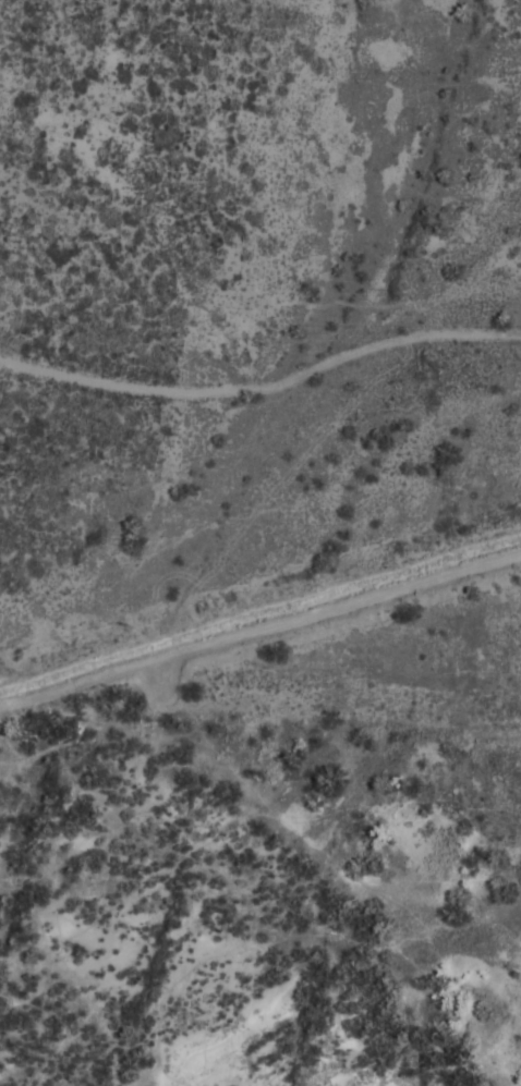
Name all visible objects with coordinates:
road: (263, 387)
road: (260, 632)

